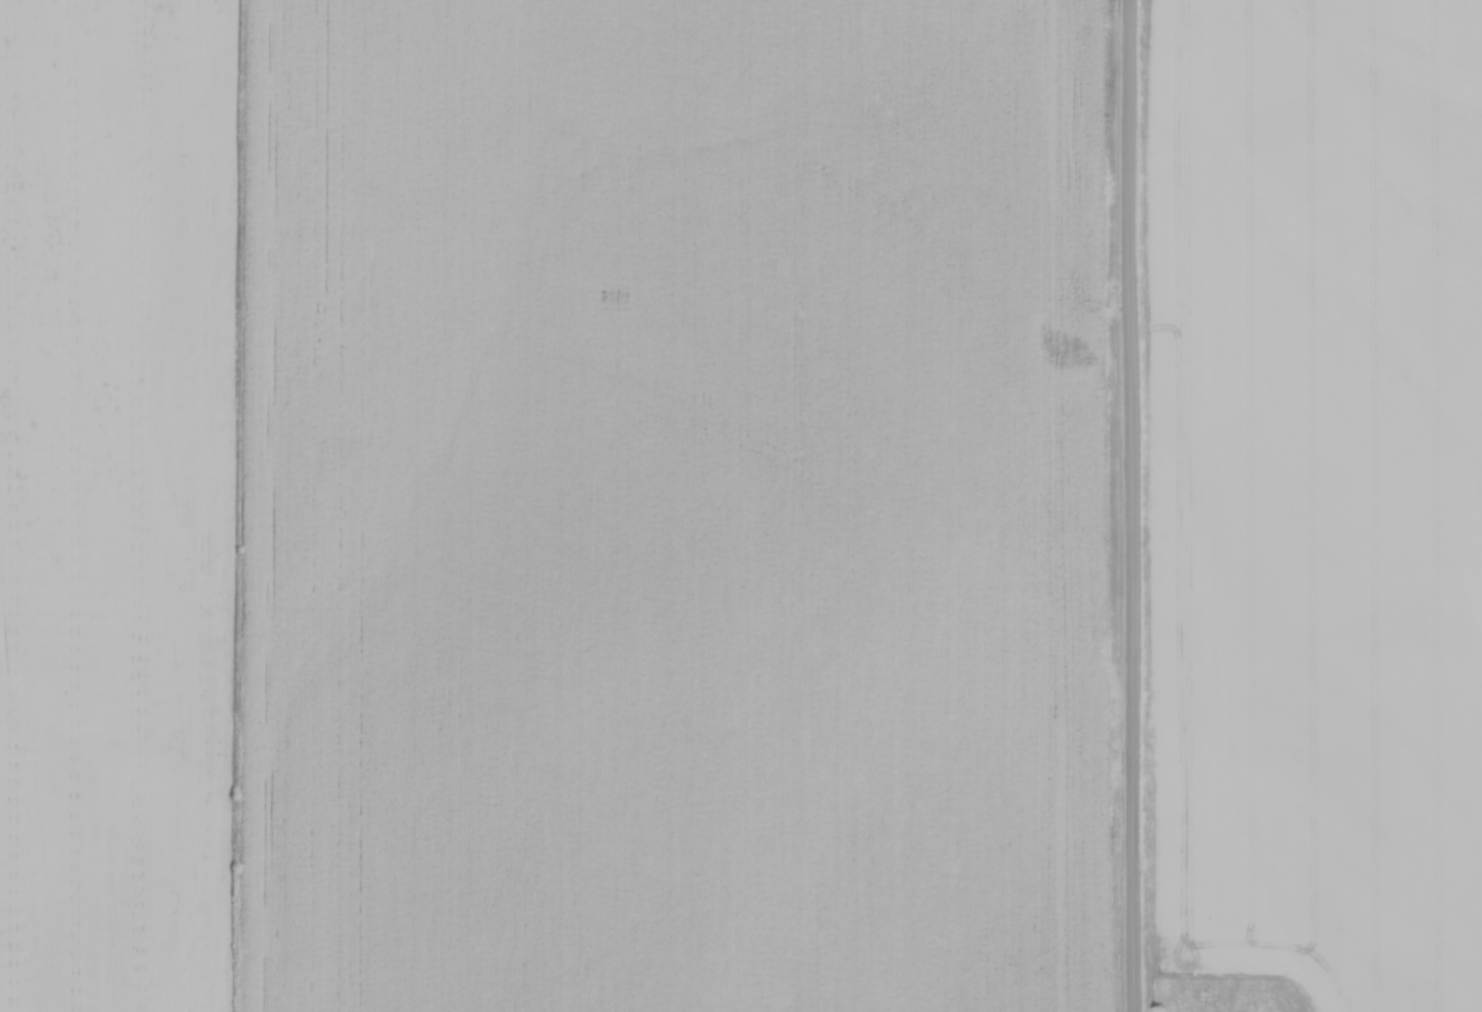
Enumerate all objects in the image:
road: (1128, 506)

